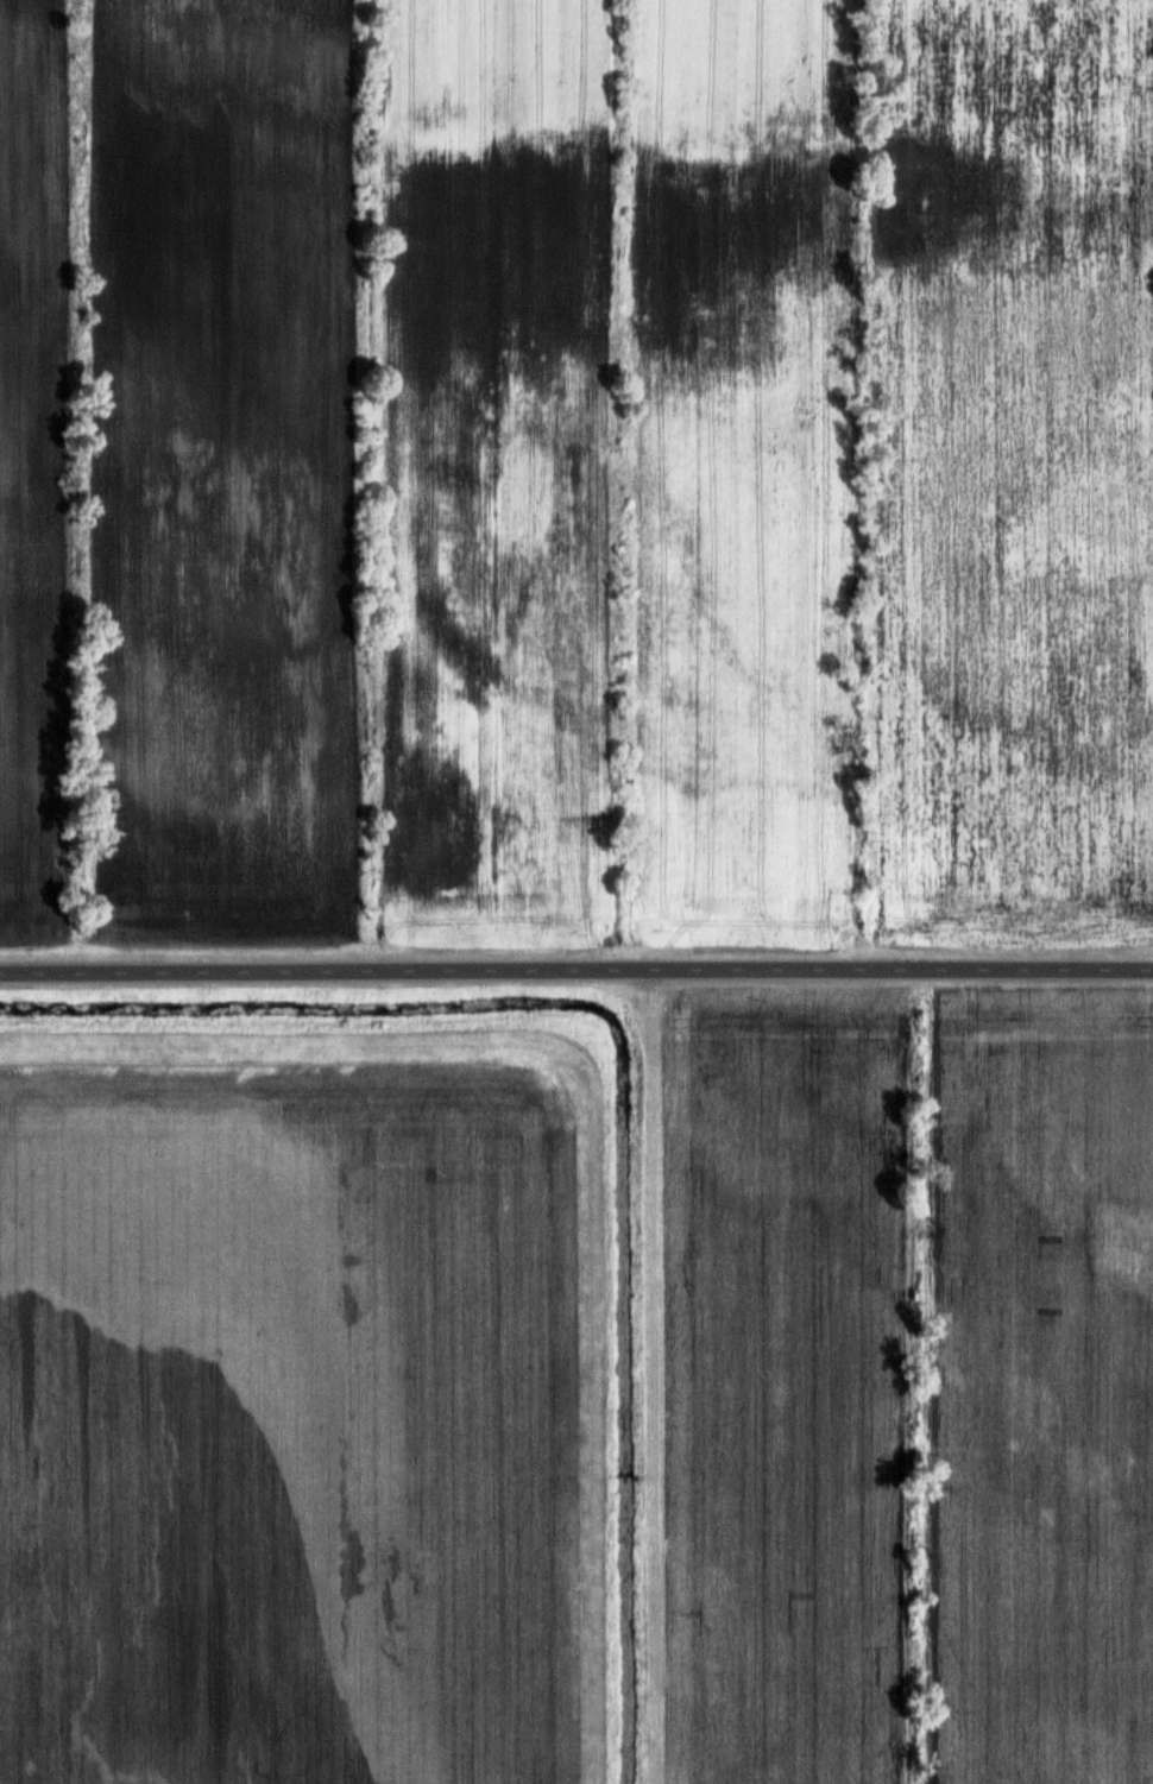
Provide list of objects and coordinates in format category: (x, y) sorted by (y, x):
road: (576, 971)

